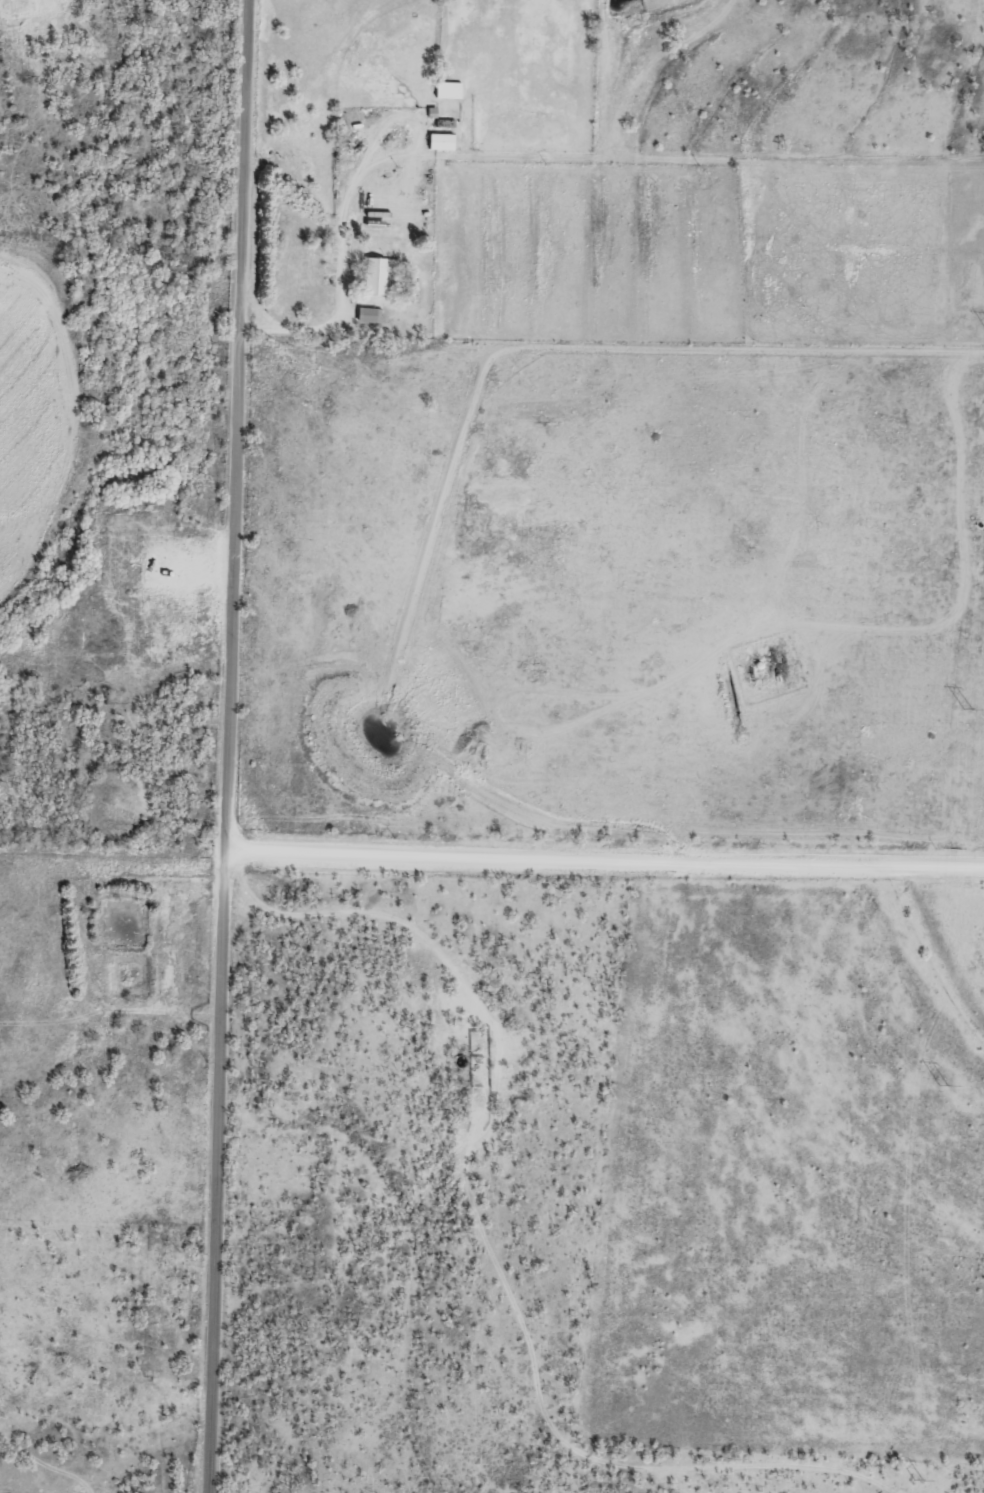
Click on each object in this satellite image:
building: (446, 89)
building: (376, 273)
building: (367, 315)
power tower: (967, 709)
road: (232, 746)
road: (607, 854)
power tower: (943, 1088)
road: (479, 1139)
power tower: (917, 1482)

